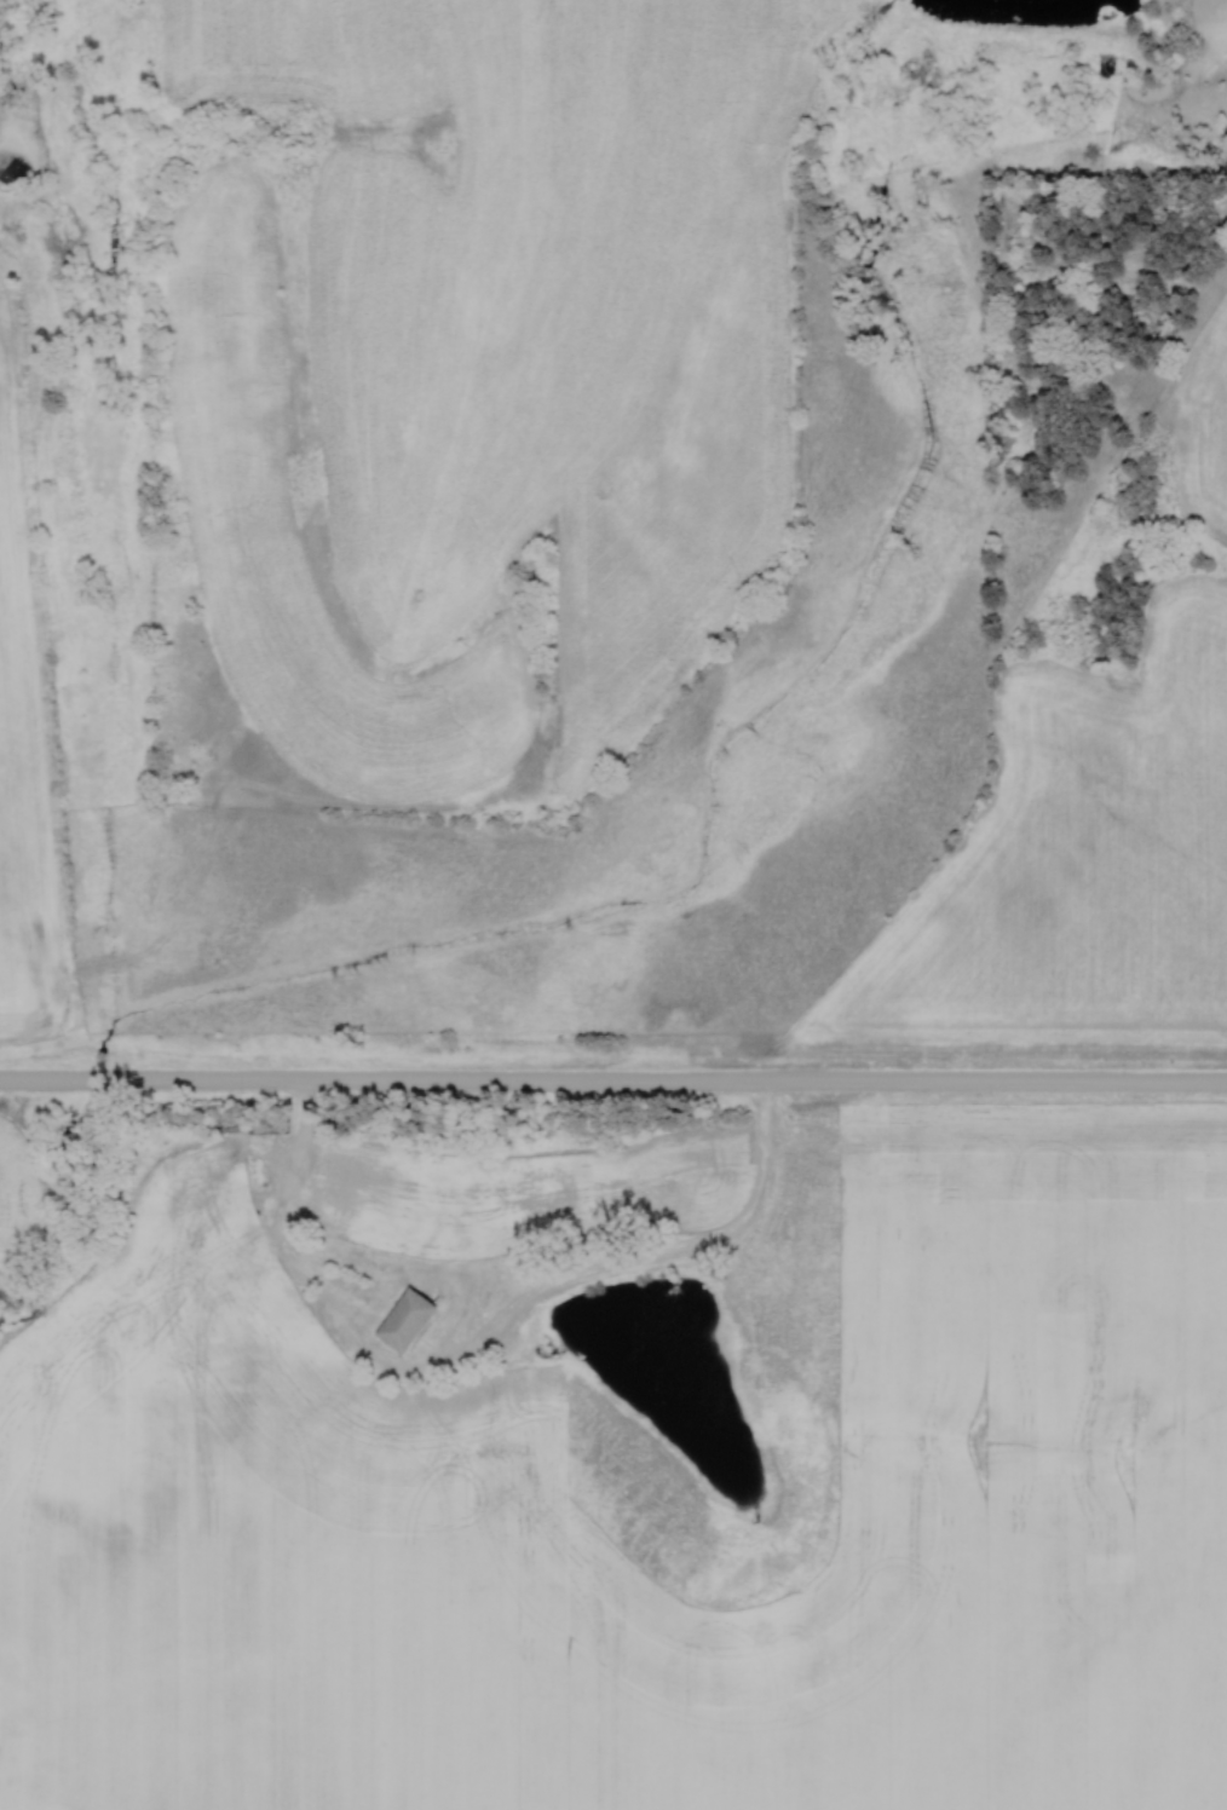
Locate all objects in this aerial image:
road: (613, 1084)
building: (678, 1177)
building: (409, 1322)
road: (461, 1351)

